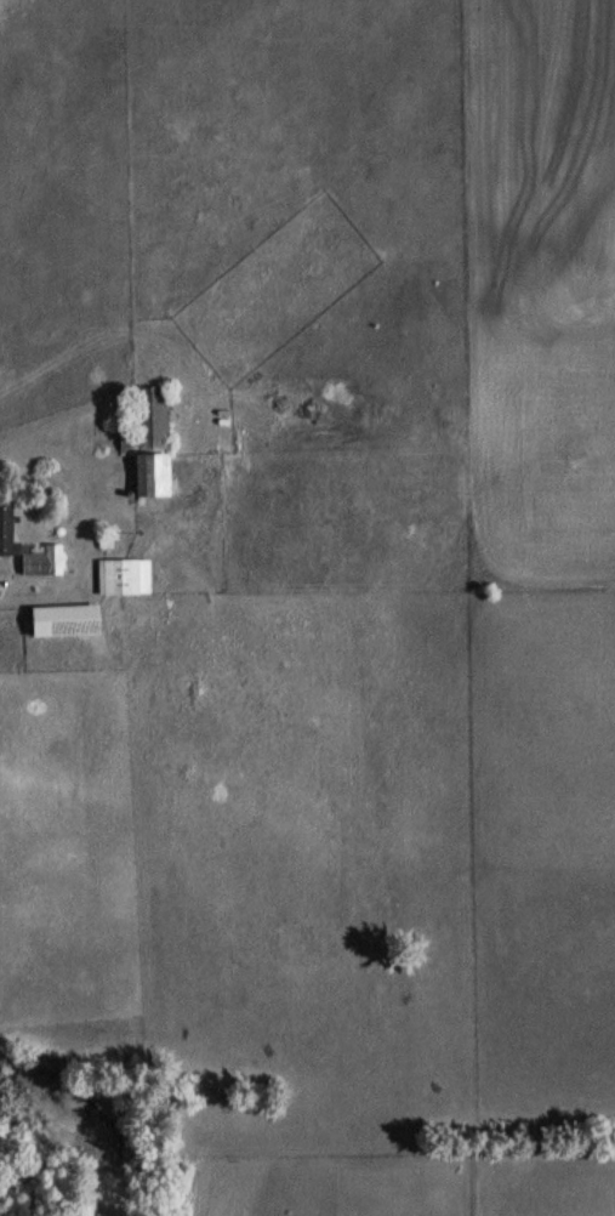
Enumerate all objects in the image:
building: (149, 443)
building: (6, 527)
building: (124, 578)
building: (66, 620)

